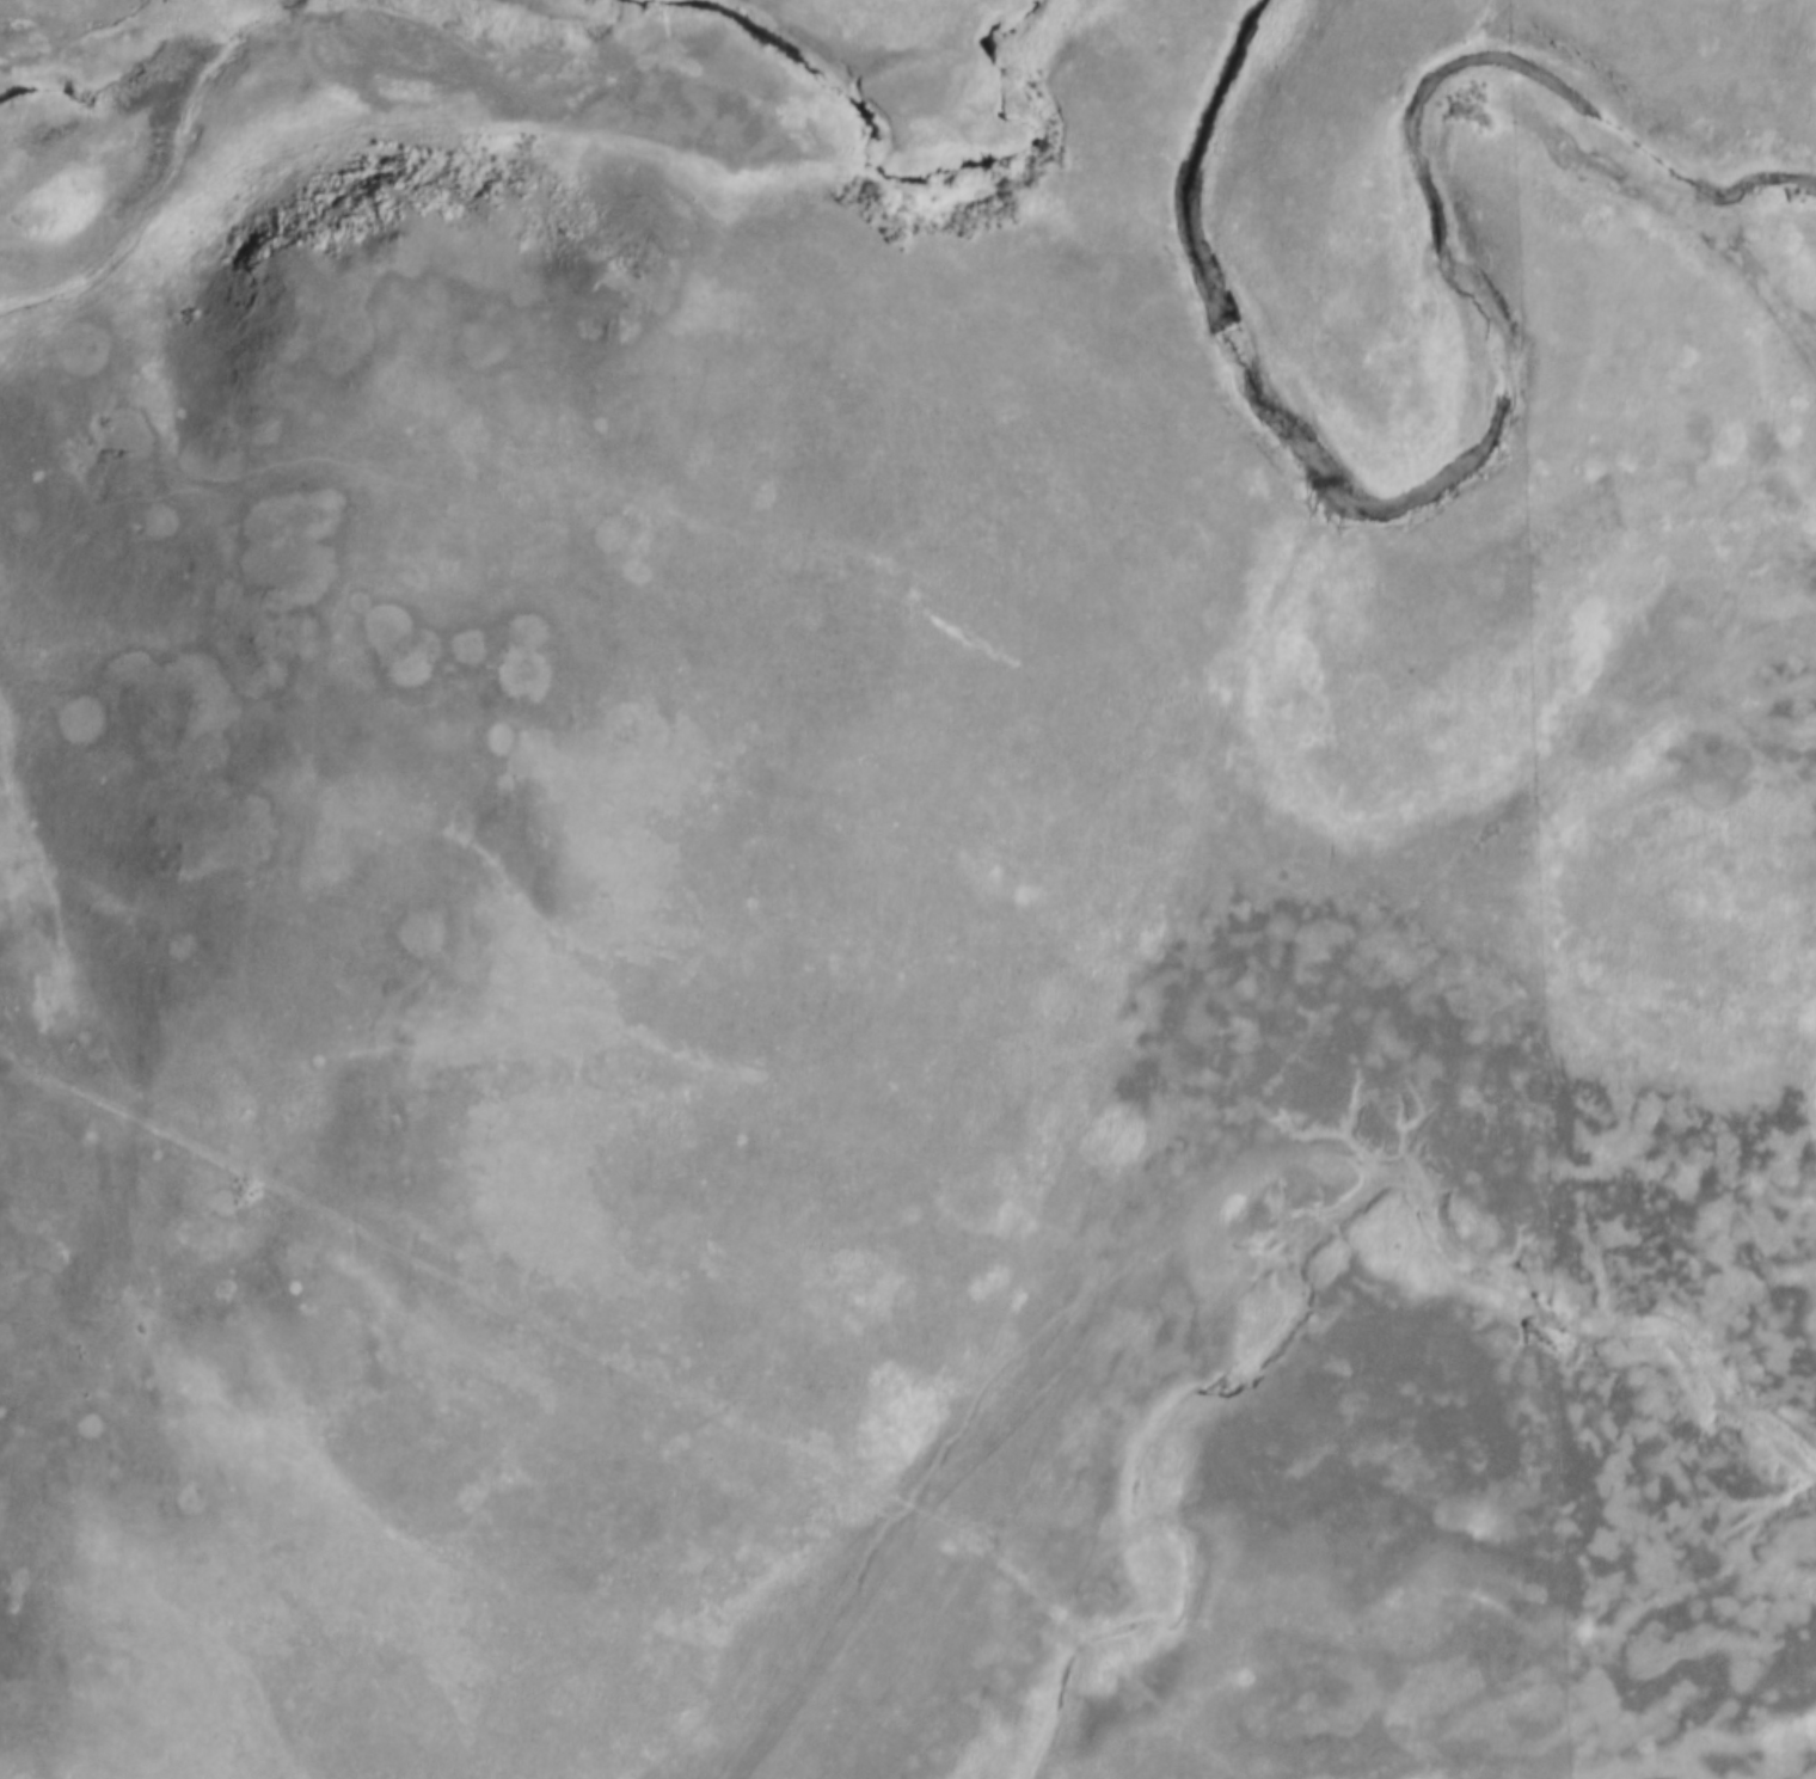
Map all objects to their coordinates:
road: (1258, 1123)
road: (1294, 1538)

